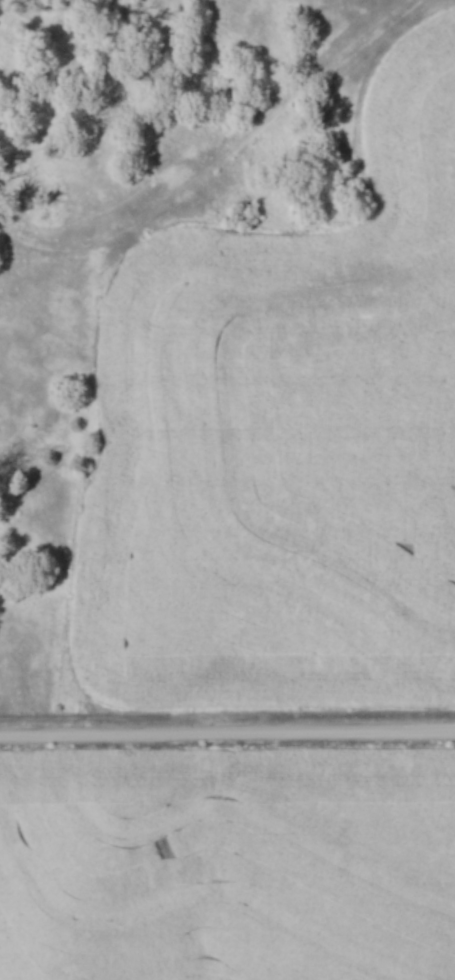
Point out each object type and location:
road: (227, 736)

